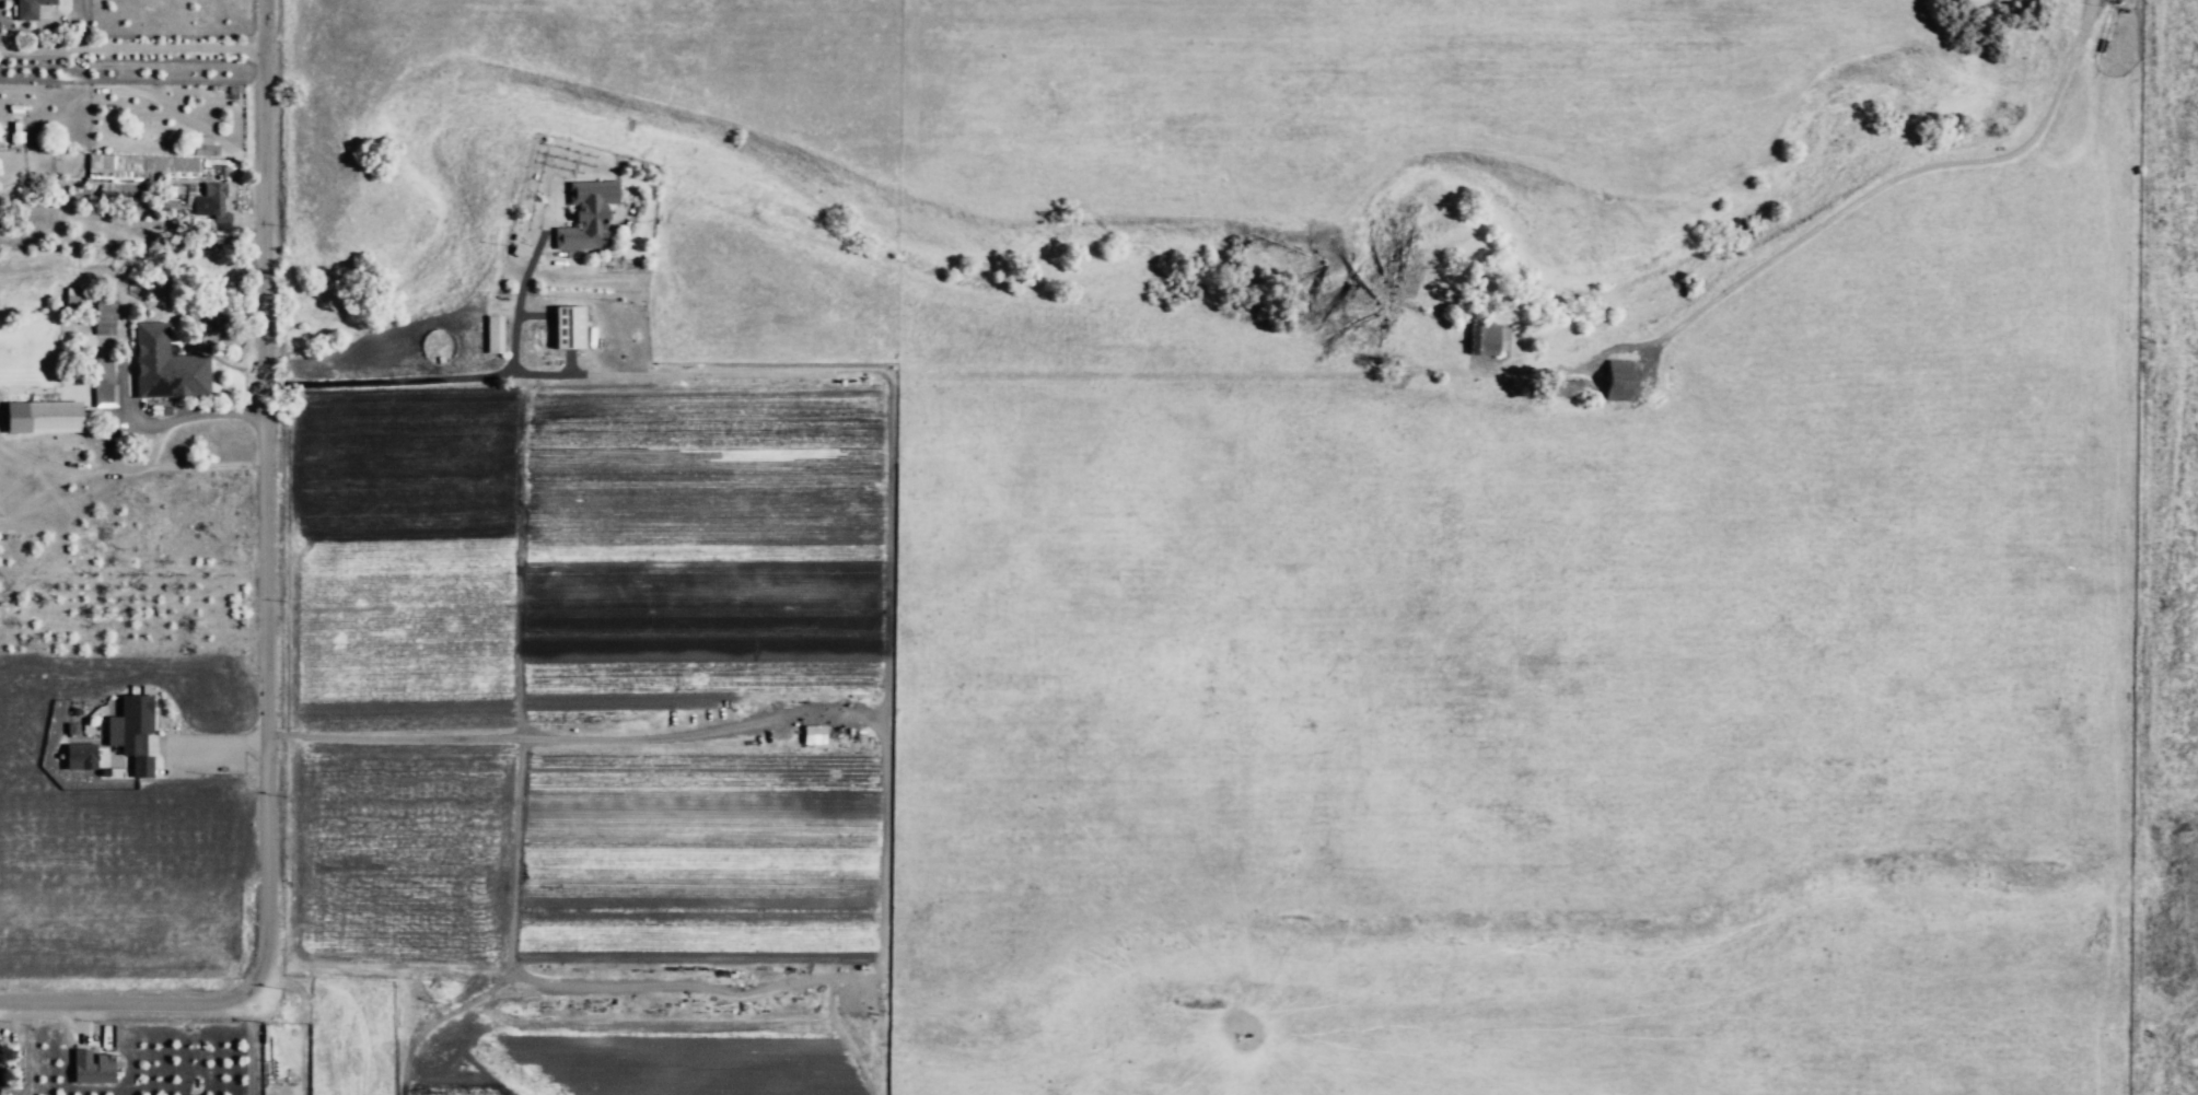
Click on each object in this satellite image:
building: (31, 9)
road: (135, 49)
road: (1500, 128)
building: (206, 147)
building: (147, 167)
building: (213, 206)
building: (589, 214)
road: (1831, 215)
road: (520, 294)
building: (108, 312)
building: (572, 330)
building: (495, 336)
building: (1481, 342)
building: (168, 368)
building: (107, 378)
road: (479, 383)
road: (1107, 384)
building: (1614, 385)
building: (1559, 394)
building: (46, 419)
road: (261, 497)
crop: (1224, 545)
building: (137, 720)
building: (813, 735)
road: (217, 741)
building: (82, 756)
building: (143, 769)
road: (127, 1006)
road: (251, 1044)
building: (1, 1069)
building: (94, 1069)

